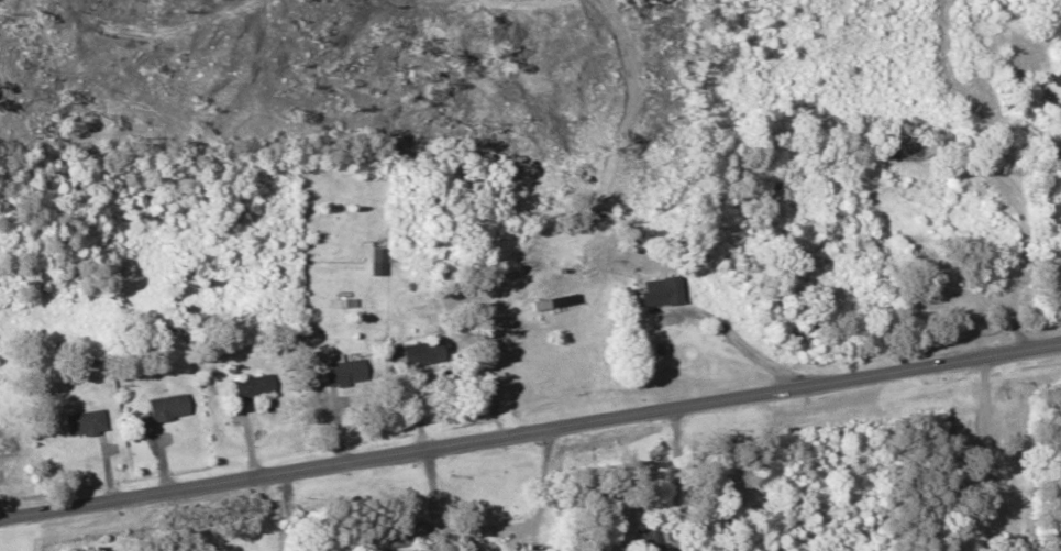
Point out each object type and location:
building: (1052, 80)
building: (573, 257)
building: (655, 291)
building: (561, 302)
building: (424, 352)
building: (347, 371)
building: (256, 385)
building: (170, 406)
building: (87, 422)
road: (530, 431)
building: (10, 445)

